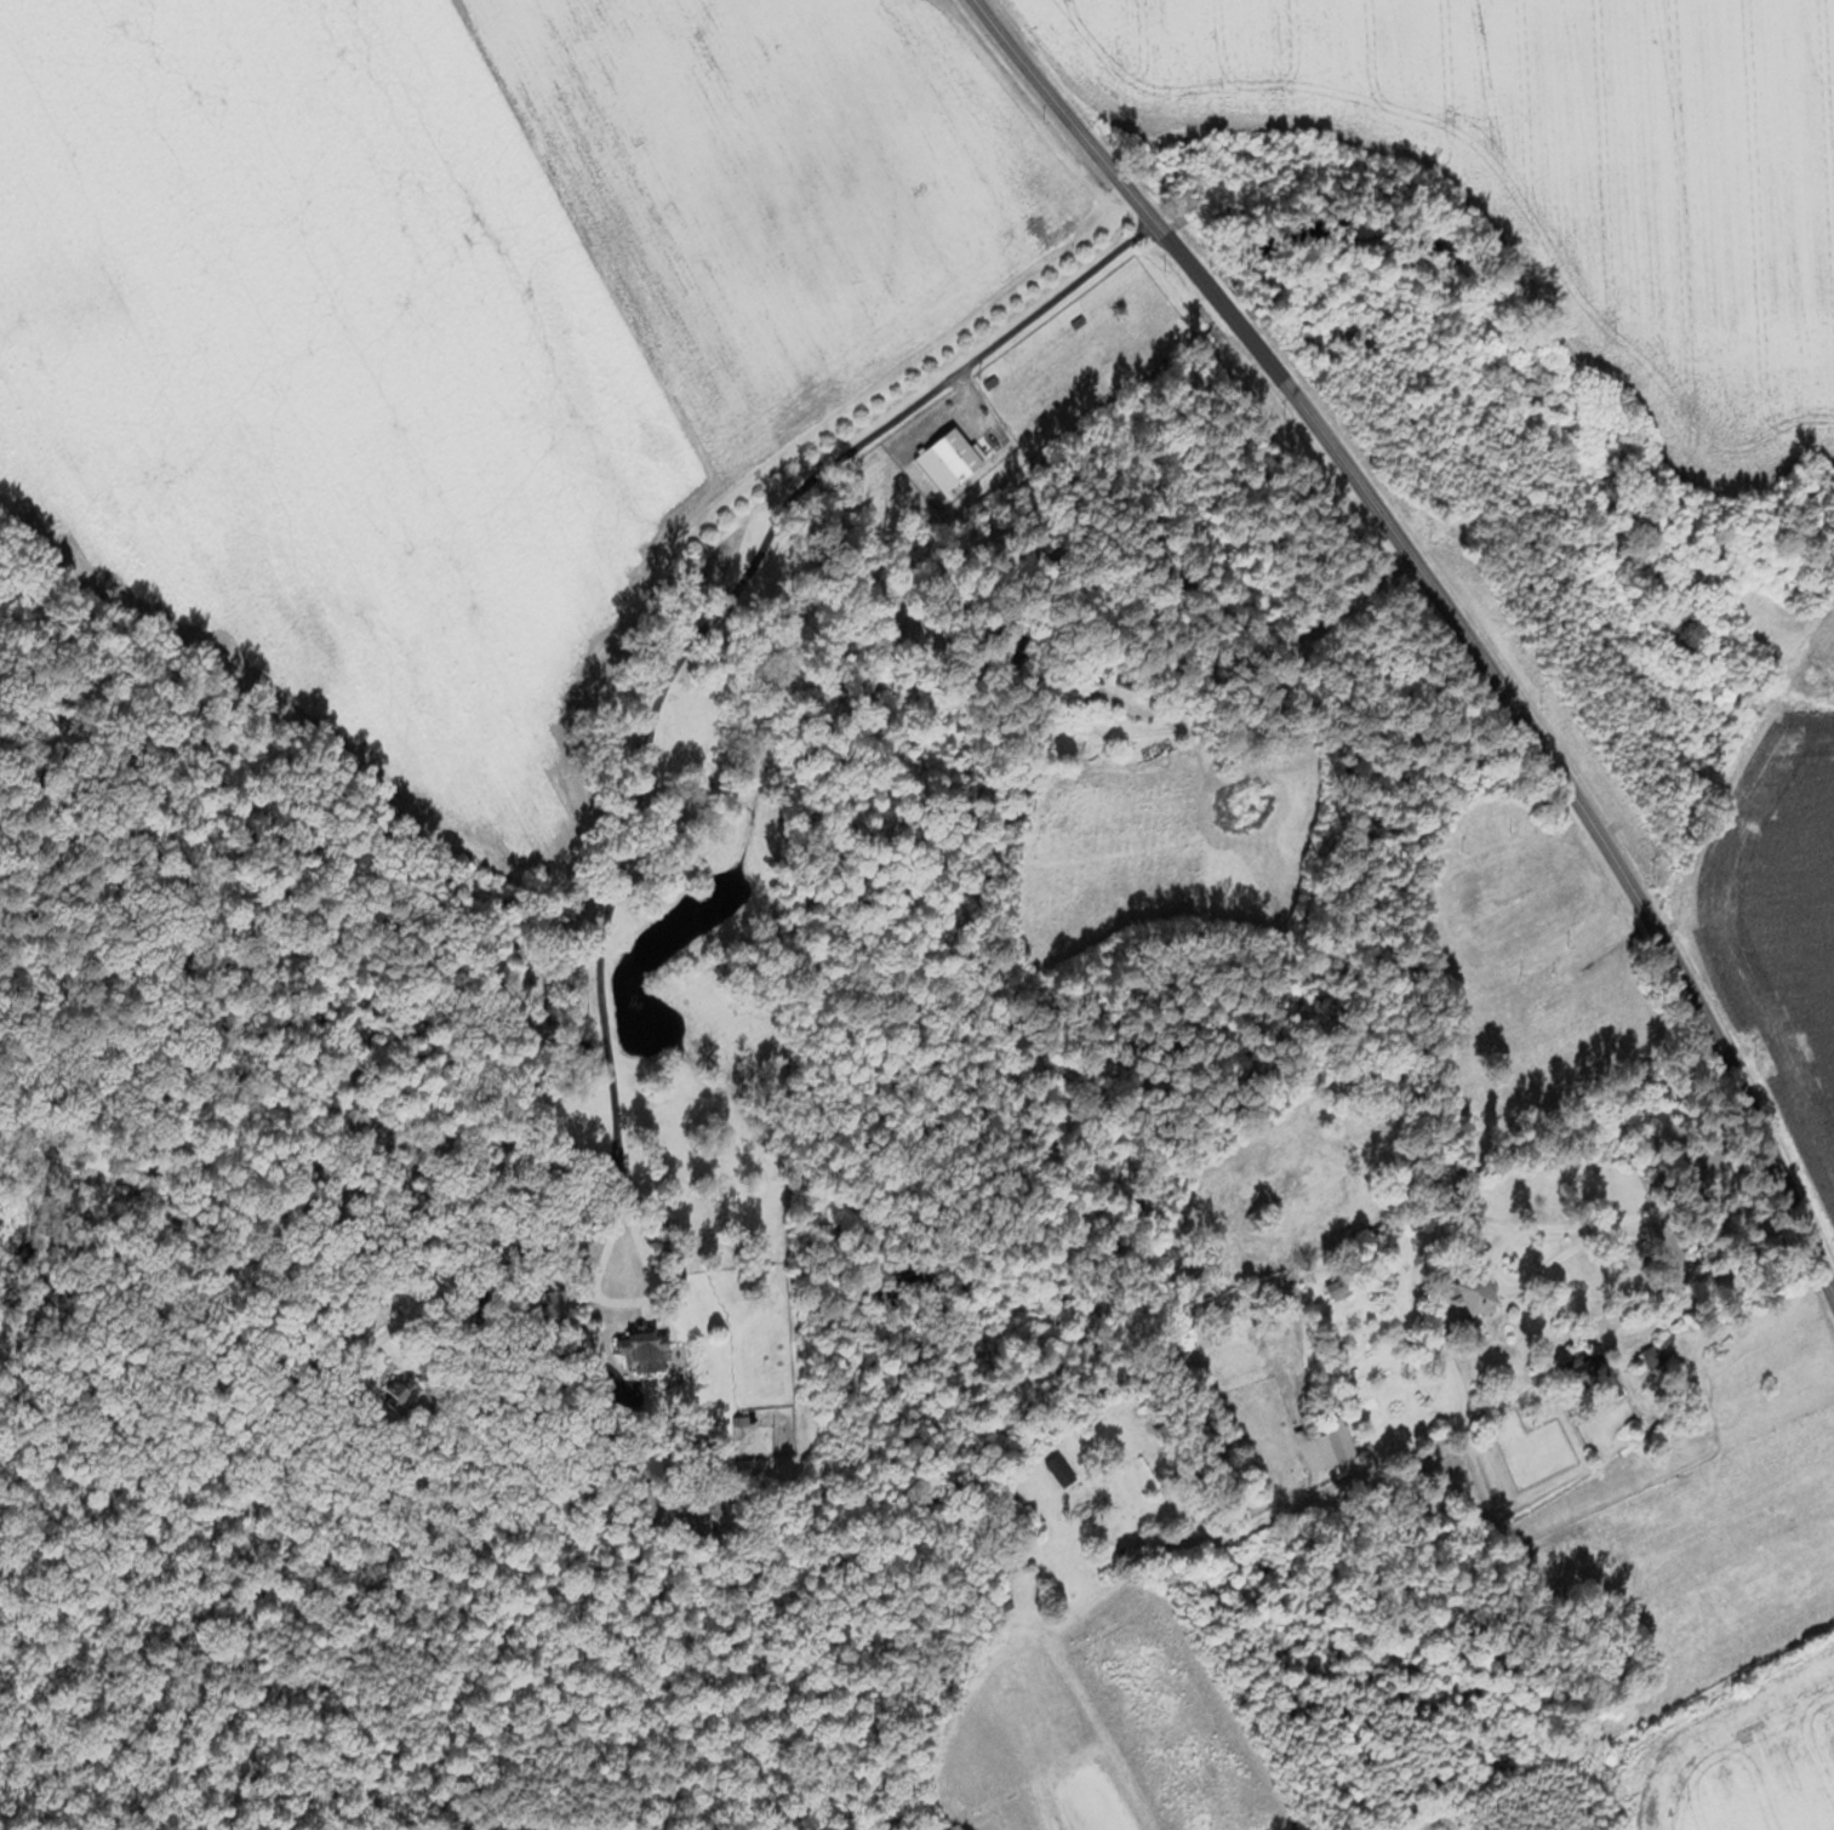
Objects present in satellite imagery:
building: (944, 452)
road: (1451, 614)
road: (1331, 675)
road: (673, 727)
road: (1729, 743)
building: (1330, 1287)
building: (1456, 1297)
building: (624, 1342)
road: (1459, 1386)
building: (1316, 1441)
building: (1049, 1471)
building: (989, 1606)

